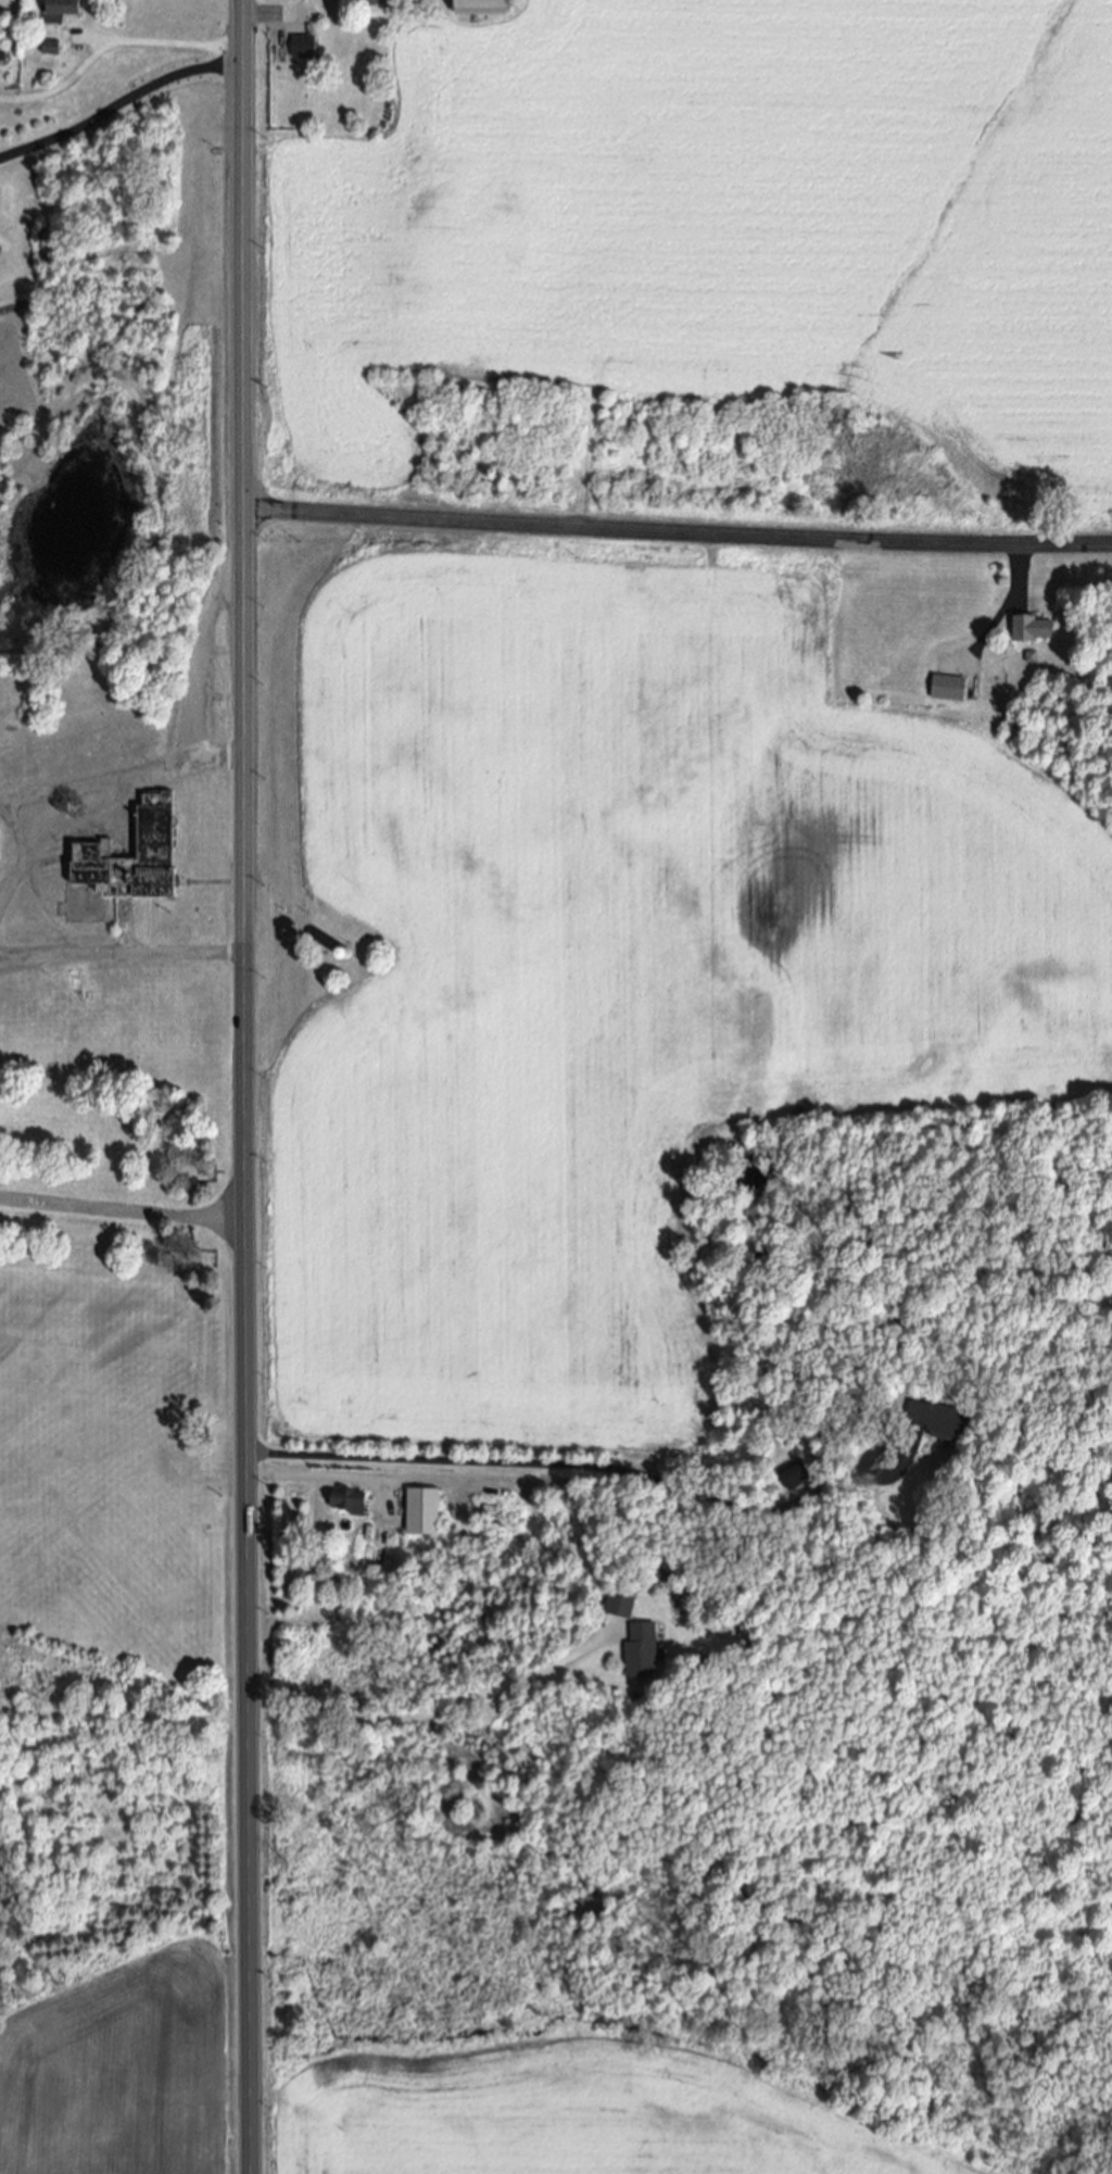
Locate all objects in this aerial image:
building: (59, 8)
building: (473, 8)
building: (371, 9)
building: (301, 48)
building: (48, 49)
road: (119, 106)
road: (678, 533)
road: (1018, 571)
building: (1028, 631)
building: (946, 690)
road: (122, 777)
road: (20, 858)
building: (124, 869)
road: (244, 904)
road: (122, 957)
road: (123, 1210)
building: (934, 1422)
road: (623, 1471)
road: (317, 1478)
building: (792, 1478)
building: (344, 1504)
building: (419, 1513)
building: (615, 1607)
building: (637, 1654)
road: (433, 1710)
road: (247, 1991)

